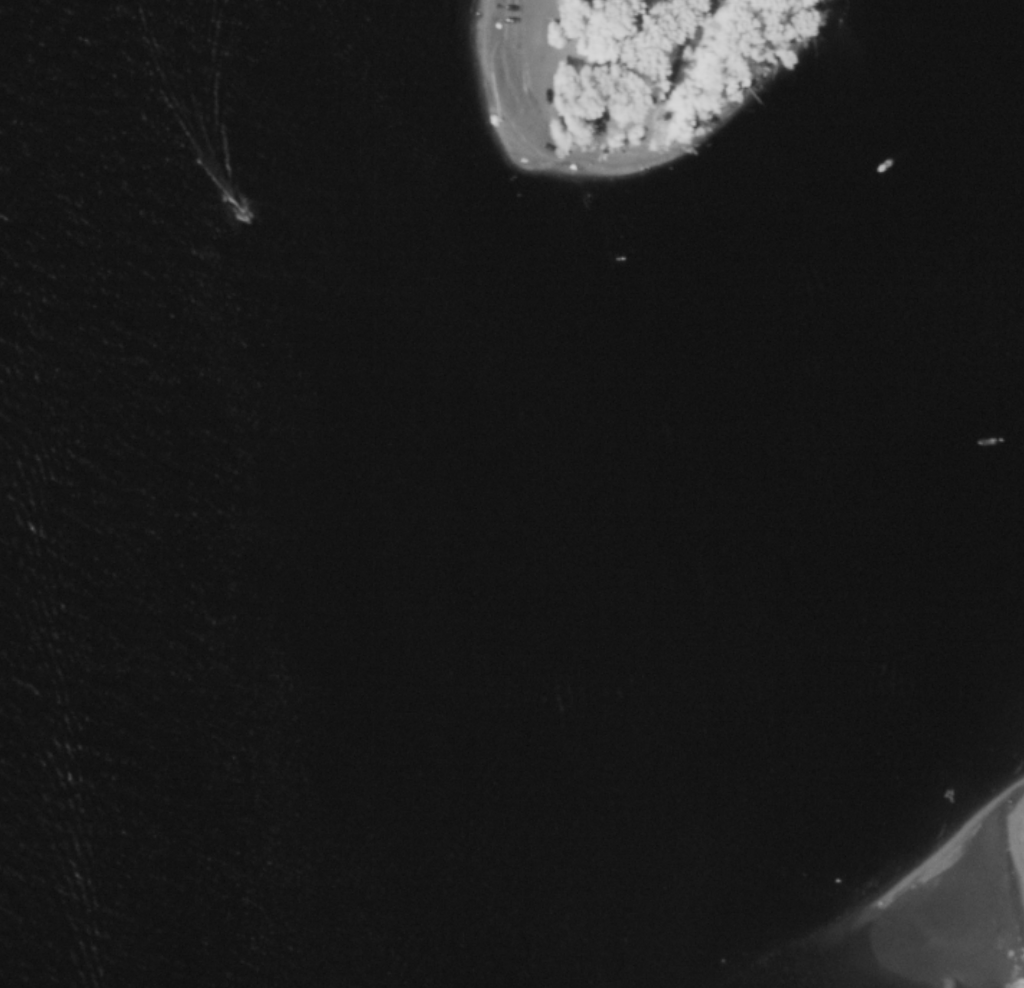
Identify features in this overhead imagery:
road: (614, 118)
river: (539, 581)

